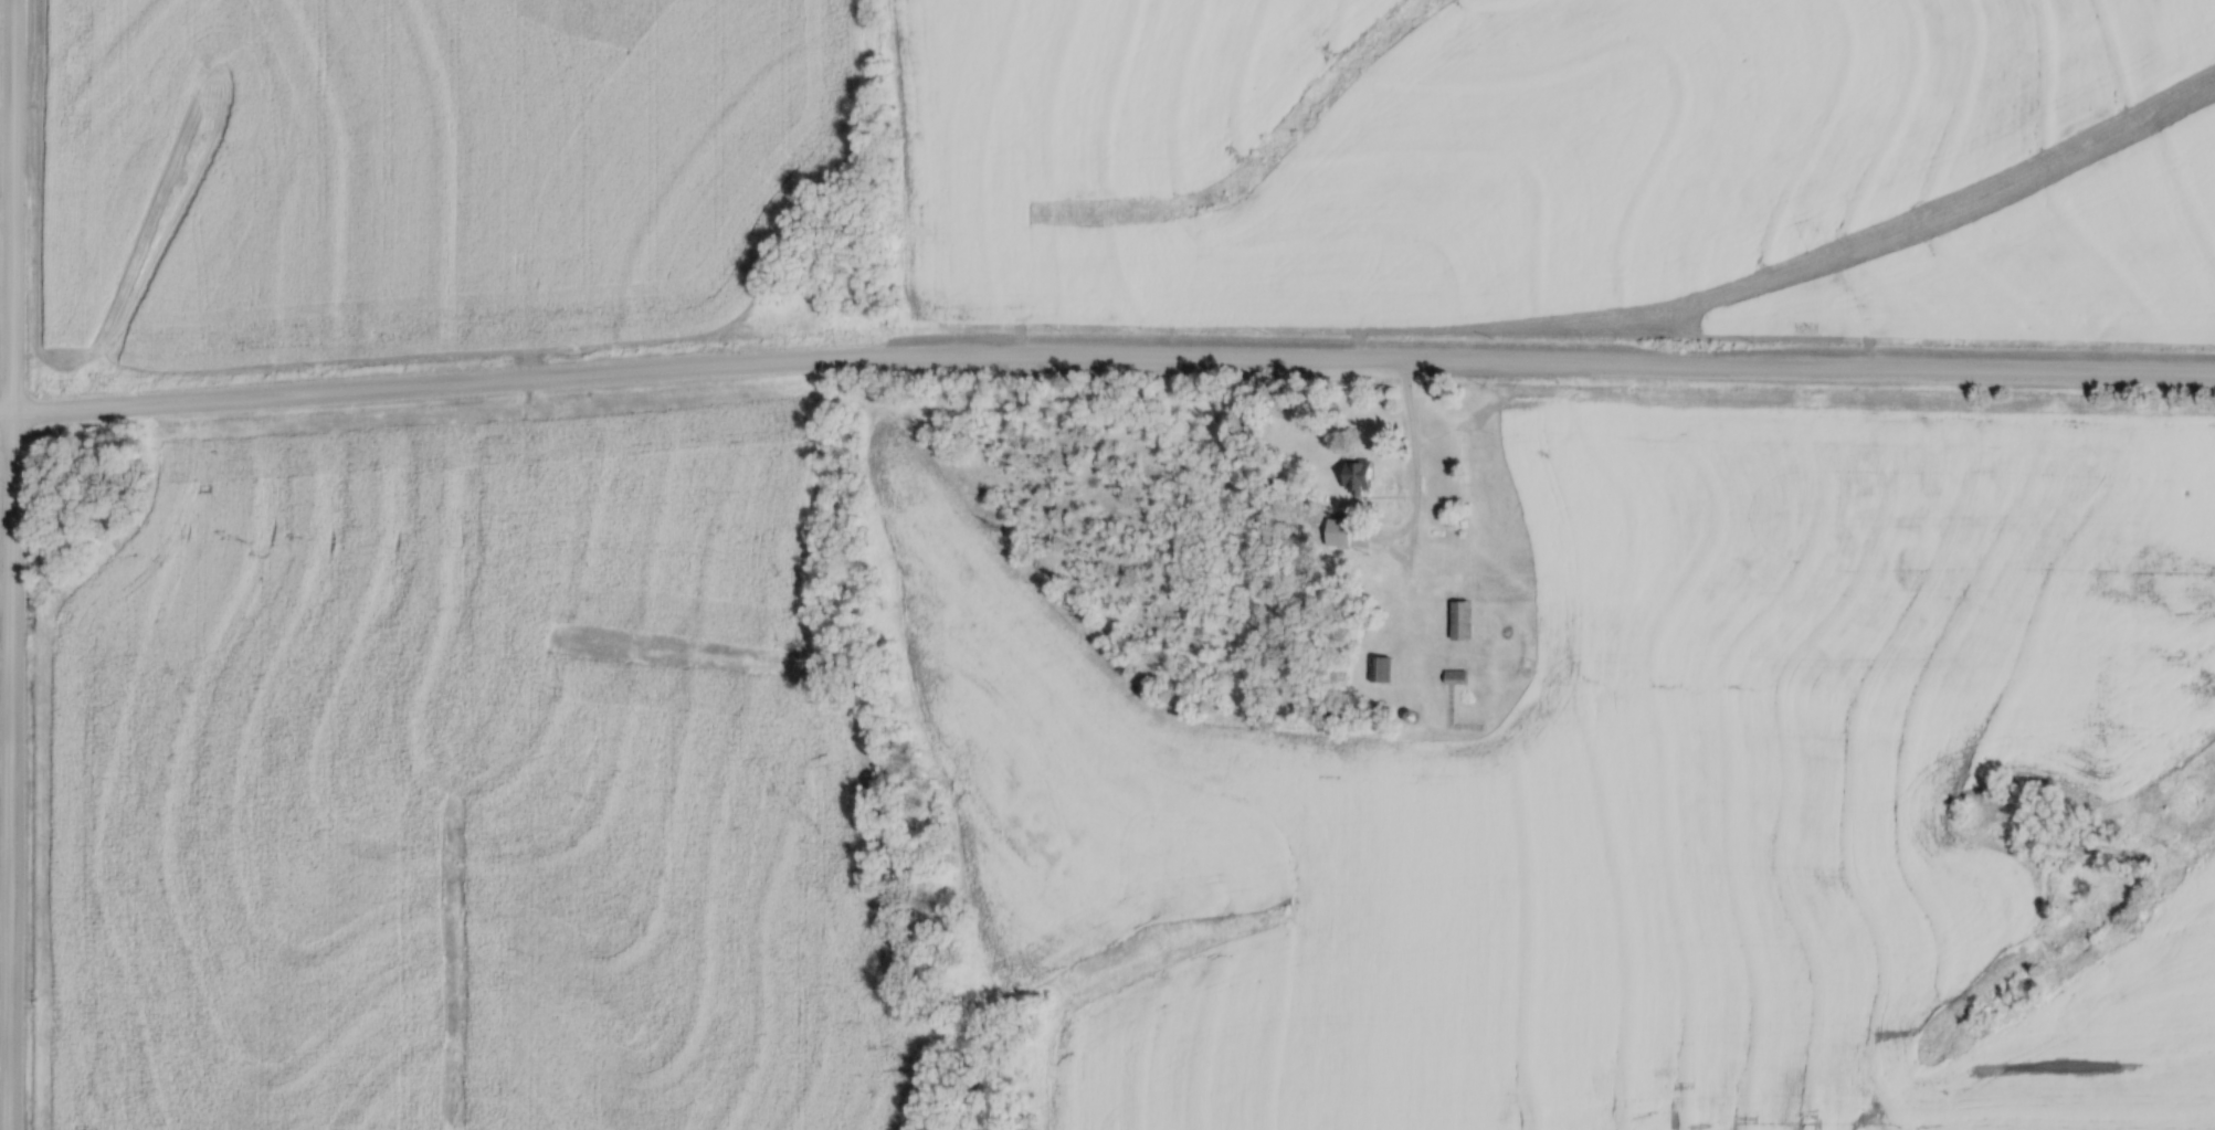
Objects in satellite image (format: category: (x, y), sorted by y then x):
road: (1106, 355)
building: (1354, 475)
building: (1337, 532)
road: (11, 564)
building: (1379, 669)

